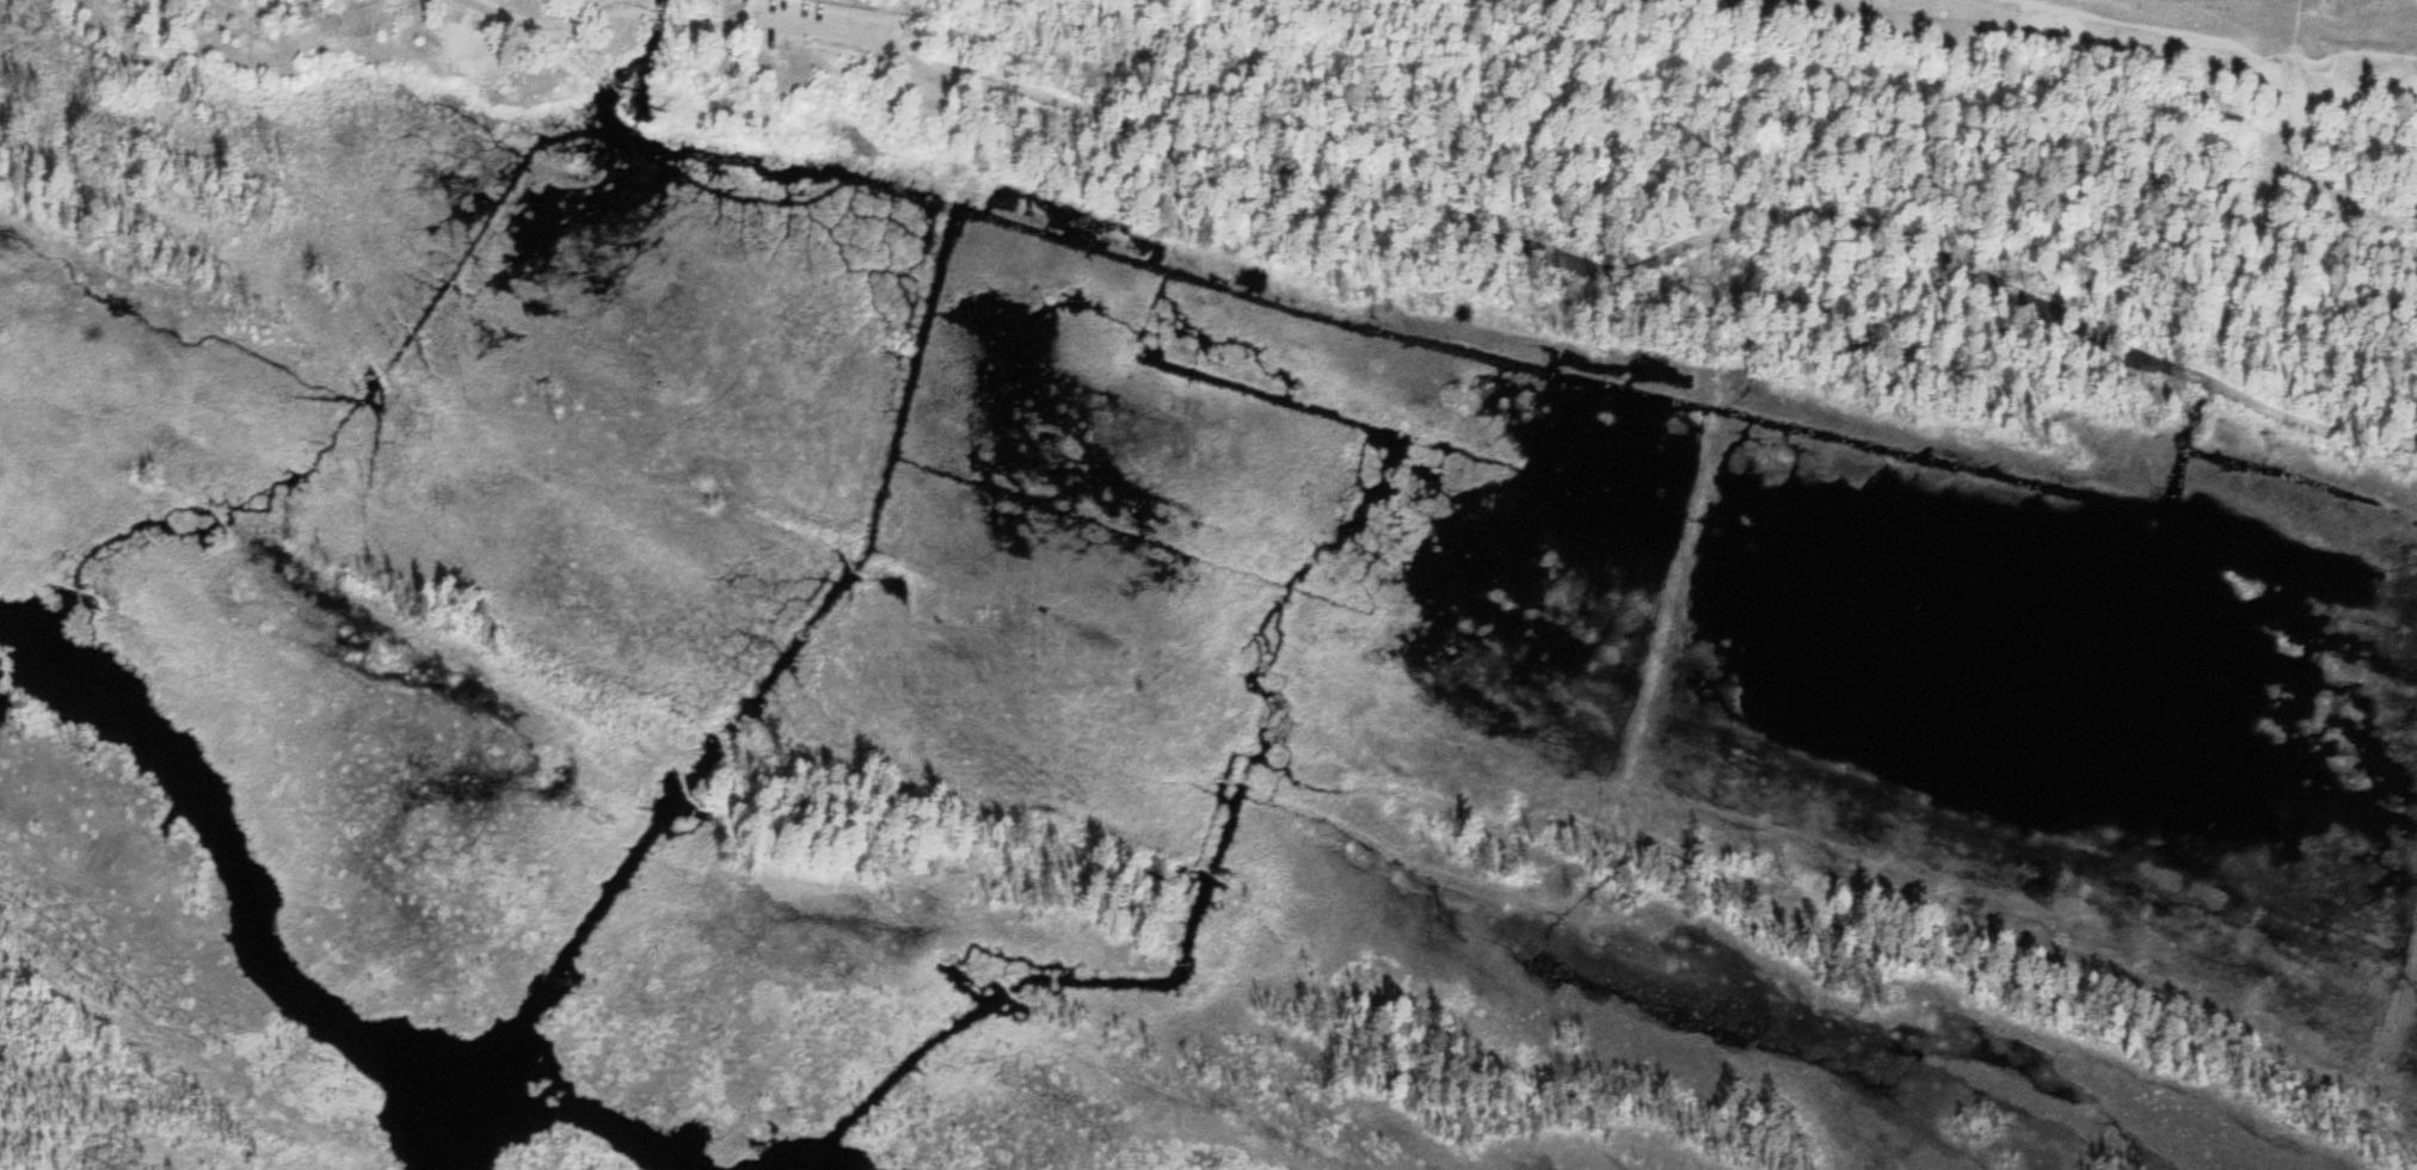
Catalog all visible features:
road: (656, 12)
road: (713, 17)
road: (553, 21)
parking lot: (853, 21)
road: (890, 24)
road: (561, 37)
road: (2216, 38)
road: (1597, 259)

